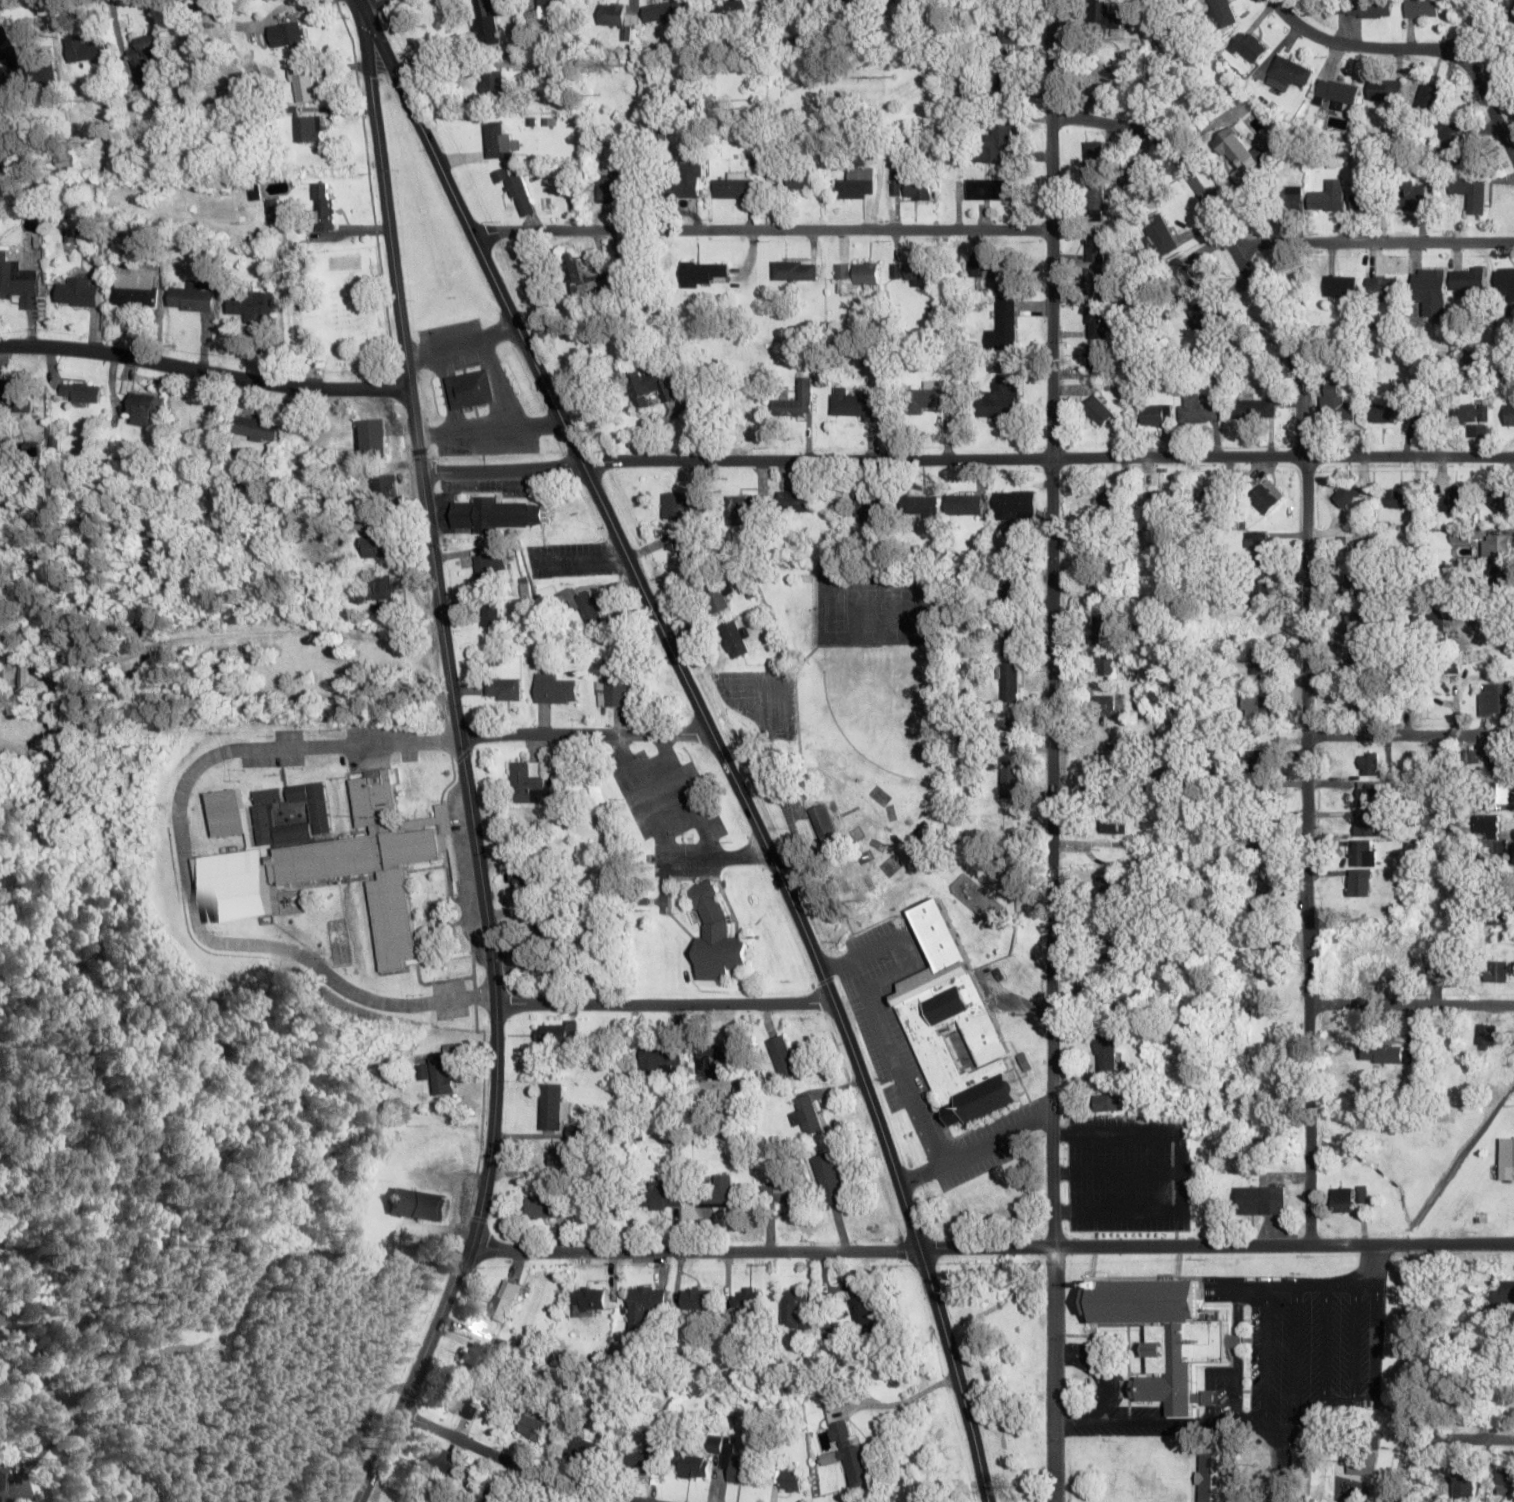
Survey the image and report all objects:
building: (774, 0)
road: (377, 1)
building: (730, 5)
building: (1363, 7)
building: (1421, 8)
building: (548, 11)
building: (670, 11)
building: (1222, 12)
building: (1513, 12)
building: (1101, 14)
building: (619, 18)
building: (485, 23)
building: (1006, 30)
building: (289, 35)
building: (1248, 47)
building: (88, 48)
road: (1363, 48)
building: (146, 58)
building: (29, 69)
building: (1287, 74)
building: (1103, 75)
road: (1476, 81)
building: (303, 83)
building: (494, 83)
building: (1005, 85)
building: (1384, 90)
building: (1335, 93)
building: (310, 128)
building: (996, 140)
building: (498, 142)
building: (1449, 142)
building: (1239, 155)
building: (1094, 157)
building: (689, 176)
building: (799, 180)
building: (857, 183)
building: (735, 186)
building: (612, 187)
building: (912, 188)
building: (991, 189)
building: (1140, 190)
building: (517, 191)
building: (1470, 192)
road: (384, 194)
building: (1411, 195)
building: (1328, 196)
building: (1094, 197)
building: (1291, 197)
building: (1365, 202)
building: (324, 208)
road: (759, 231)
building: (1158, 236)
building: (1095, 245)
road: (1253, 246)
building: (795, 270)
building: (995, 270)
building: (912, 271)
building: (705, 273)
building: (855, 276)
building: (1179, 277)
building: (578, 279)
building: (1467, 280)
building: (18, 281)
building: (1340, 285)
building: (1381, 285)
building: (1095, 286)
building: (1505, 287)
building: (1428, 289)
building: (135, 290)
building: (77, 292)
building: (192, 298)
building: (253, 305)
building: (1006, 317)
building: (1207, 322)
building: (1098, 323)
building: (1098, 359)
road: (204, 371)
building: (651, 384)
building: (472, 390)
building: (80, 392)
building: (16, 396)
building: (930, 398)
building: (1001, 399)
building: (796, 401)
building: (1334, 402)
building: (856, 404)
building: (139, 408)
building: (1253, 408)
building: (1098, 410)
building: (1197, 410)
building: (1389, 410)
building: (1470, 412)
building: (1156, 414)
building: (1509, 414)
building: (258, 428)
building: (374, 437)
road: (967, 460)
road: (1306, 484)
building: (385, 485)
building: (1347, 493)
building: (1267, 496)
building: (1400, 498)
building: (1159, 500)
building: (1455, 500)
building: (797, 501)
building: (1213, 501)
building: (1501, 501)
building: (1112, 502)
building: (683, 505)
building: (873, 506)
building: (919, 506)
building: (959, 506)
building: (1016, 506)
building: (740, 509)
building: (496, 514)
building: (1260, 543)
building: (1351, 545)
building: (1497, 545)
building: (377, 546)
building: (687, 546)
building: (490, 565)
building: (1498, 580)
building: (1263, 584)
building: (1358, 584)
building: (381, 588)
building: (1009, 590)
building: (714, 594)
building: (583, 605)
park: (832, 607)
park: (862, 608)
park: (892, 608)
park: (924, 608)
building: (491, 615)
building: (1491, 615)
building: (1352, 622)
building: (1102, 628)
building: (734, 638)
building: (1009, 638)
building: (1358, 660)
building: (1105, 664)
building: (1263, 665)
building: (7, 670)
building: (1009, 682)
building: (614, 684)
building: (504, 689)
building: (555, 689)
building: (1495, 699)
building: (1259, 703)
building: (1367, 704)
building: (1104, 705)
building: (1145, 712)
road: (713, 734)
road: (586, 735)
building: (1007, 735)
road: (1411, 737)
road: (1052, 750)
building: (1485, 760)
building: (1267, 761)
building: (1370, 763)
building: (1111, 765)
building: (1008, 779)
building: (527, 780)
building: (1371, 792)
building: (1493, 792)
building: (1112, 795)
building: (827, 823)
building: (1111, 824)
building: (1367, 825)
building: (1489, 840)
building: (1363, 853)
building: (323, 854)
road: (188, 875)
building: (527, 880)
building: (1359, 882)
building: (1268, 883)
building: (1108, 886)
building: (1491, 912)
building: (549, 930)
building: (714, 936)
building: (1108, 946)
road: (490, 954)
building: (1442, 964)
building: (1494, 970)
building: (552, 971)
building: (1386, 973)
road: (1307, 992)
road: (663, 1005)
road: (1410, 1006)
building: (953, 1024)
building: (557, 1034)
building: (1485, 1034)
building: (1105, 1054)
building: (1385, 1054)
building: (782, 1056)
building: (658, 1058)
building: (717, 1059)
parking lot: (919, 1069)
building: (438, 1074)
building: (1105, 1102)
building: (552, 1106)
building: (805, 1114)
building: (558, 1155)
building: (1505, 1157)
building: (828, 1178)
building: (717, 1190)
building: (783, 1192)
building: (660, 1195)
building: (1341, 1199)
building: (1262, 1200)
building: (418, 1204)
building: (606, 1204)
building: (544, 1206)
road: (992, 1249)
building: (1505, 1292)
building: (697, 1298)
building: (745, 1299)
building: (504, 1300)
building: (588, 1301)
building: (645, 1304)
building: (794, 1307)
building: (862, 1310)
building: (1, 1319)
building: (164, 1331)
building: (1165, 1334)
building: (473, 1356)
park: (1001, 1361)
building: (462, 1402)
building: (533, 1423)
road: (1493, 1442)
building: (584, 1446)
building: (714, 1446)
building: (646, 1451)
building: (850, 1455)
building: (439, 1461)
building: (1361, 1462)
road: (513, 1465)
building: (692, 1465)
building: (737, 1467)
road: (1281, 1471)
building: (791, 1480)
building: (1142, 1481)
building: (1505, 1481)
building: (4, 1482)
building: (1464, 1484)
building: (1176, 1497)
building: (492, 1498)
building: (404, 1500)

